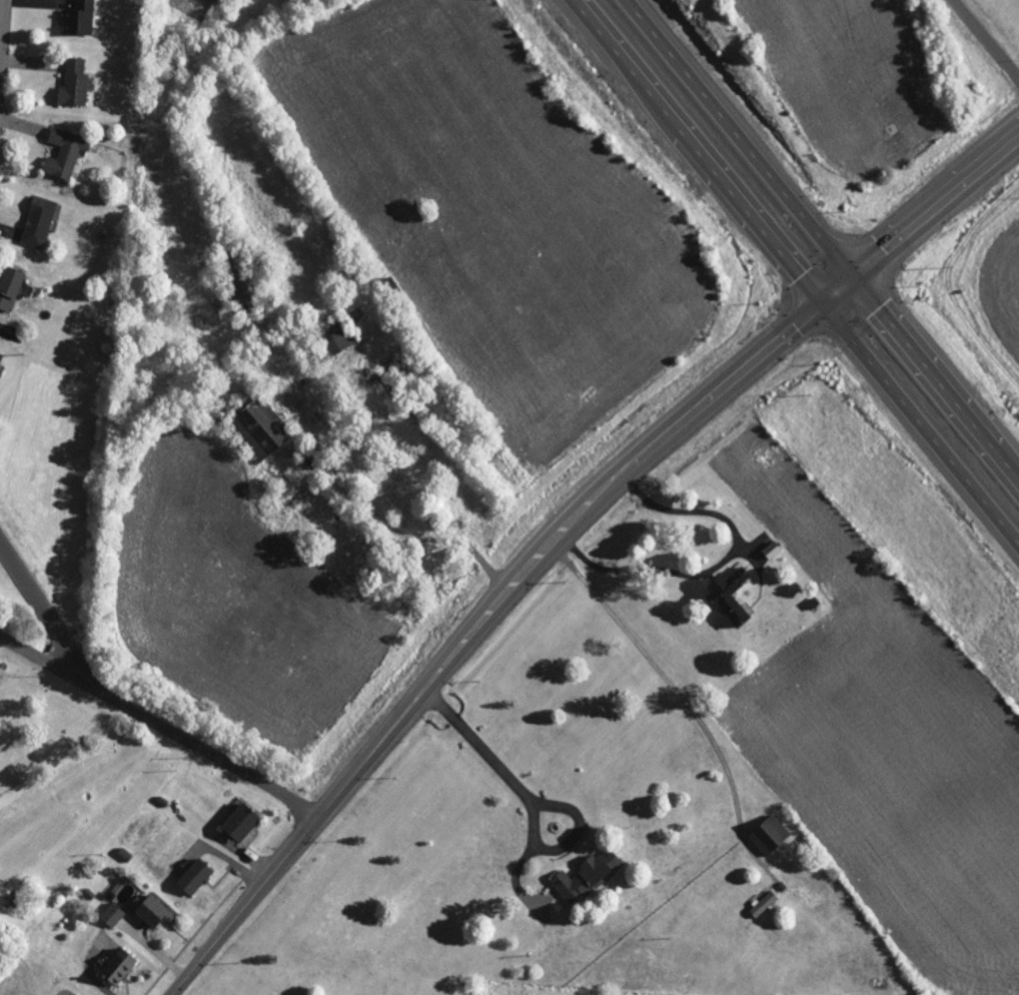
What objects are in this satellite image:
building: (78, 19)
road: (1, 26)
road: (989, 36)
building: (73, 83)
building: (64, 152)
building: (37, 221)
road: (825, 235)
road: (798, 269)
building: (8, 286)
building: (0, 355)
building: (259, 427)
road: (646, 451)
building: (727, 595)
road: (48, 616)
road: (160, 724)
road: (531, 802)
building: (239, 822)
building: (767, 834)
building: (193, 877)
building: (583, 877)
road: (245, 904)
building: (761, 904)
building: (150, 910)
building: (111, 915)
building: (117, 967)

